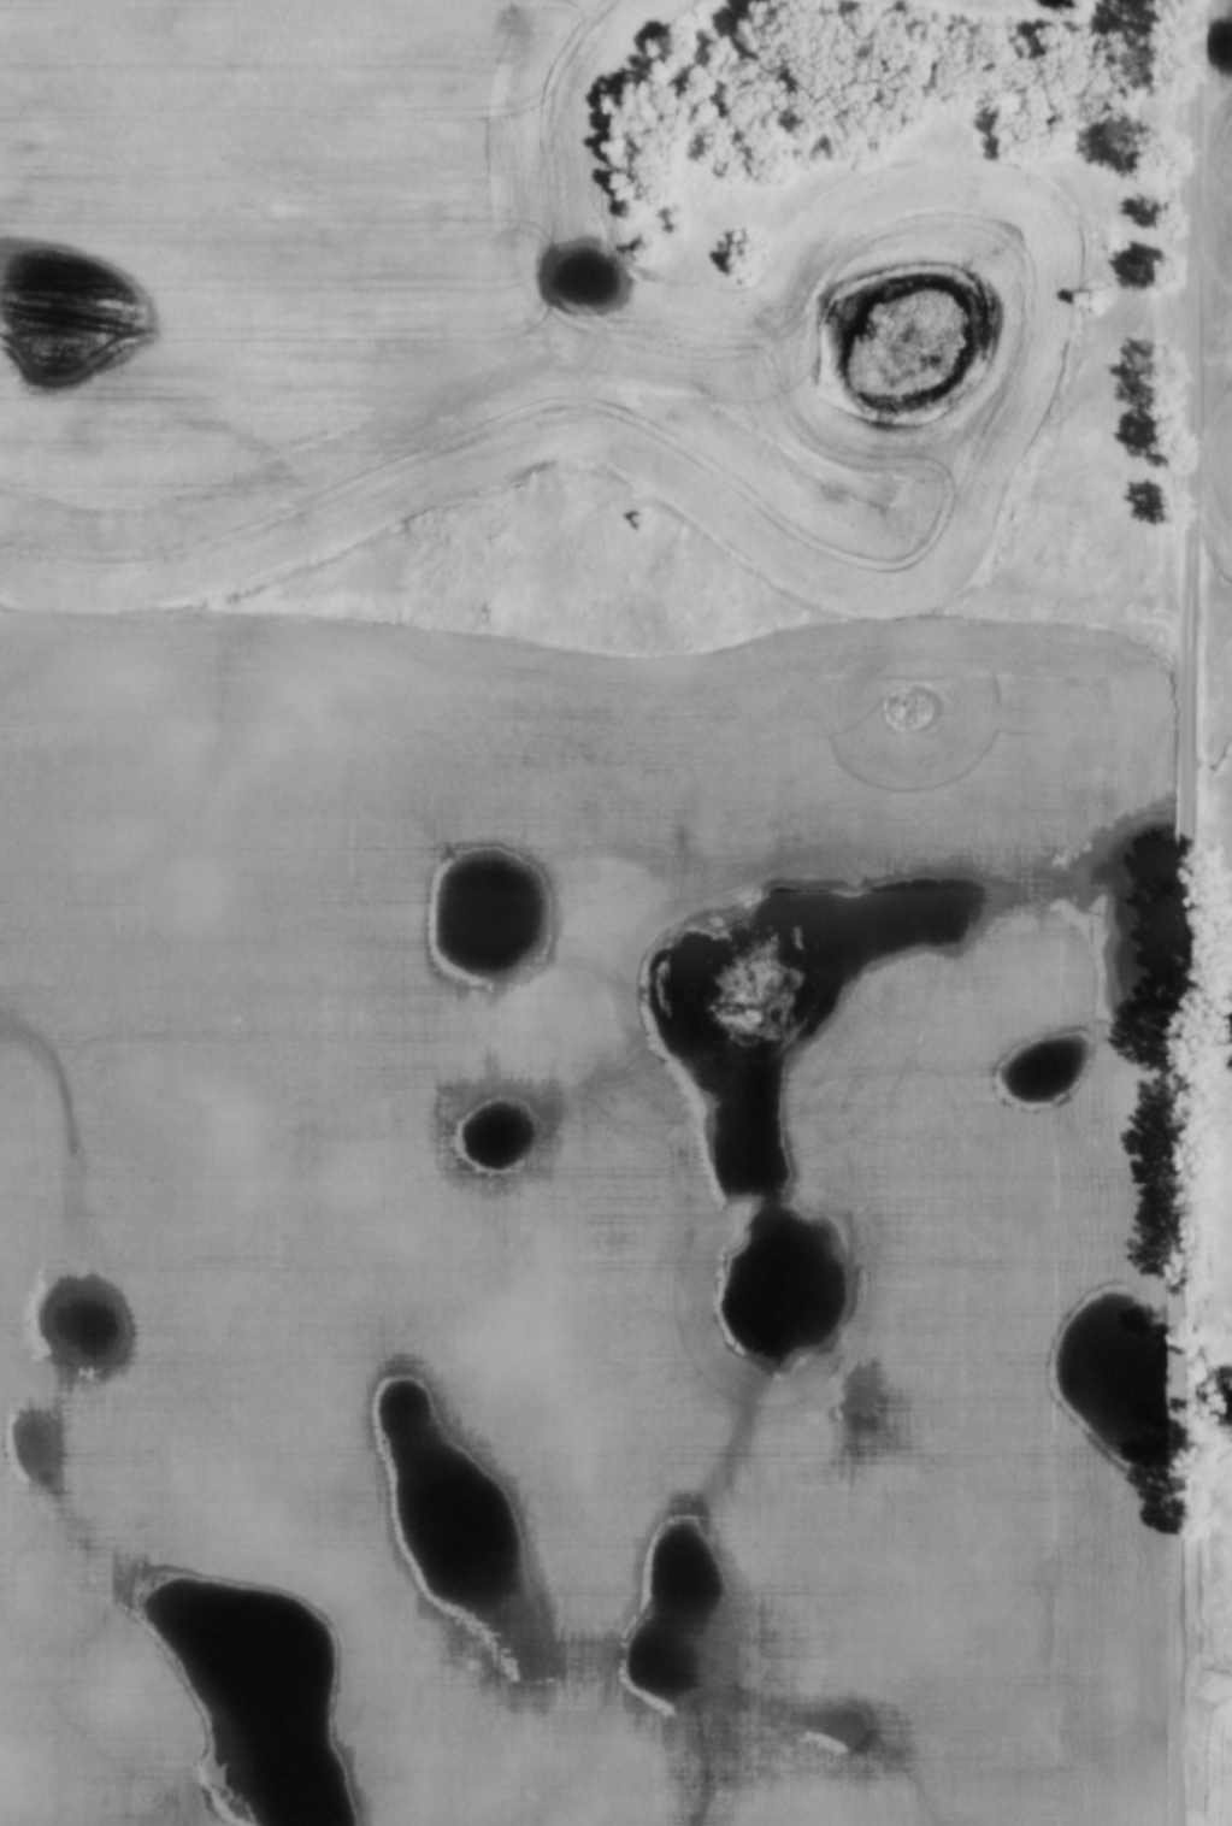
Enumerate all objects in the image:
road: (1184, 913)

